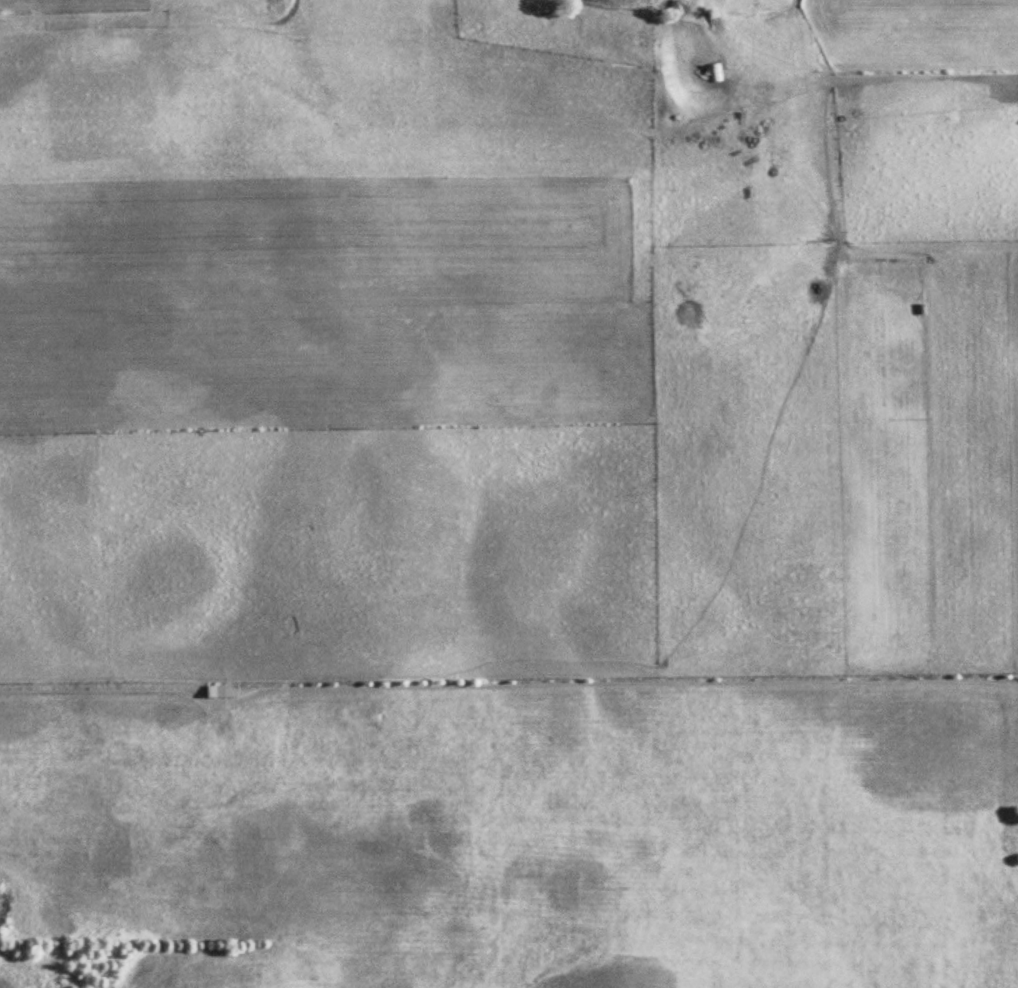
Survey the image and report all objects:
building: (223, 689)

